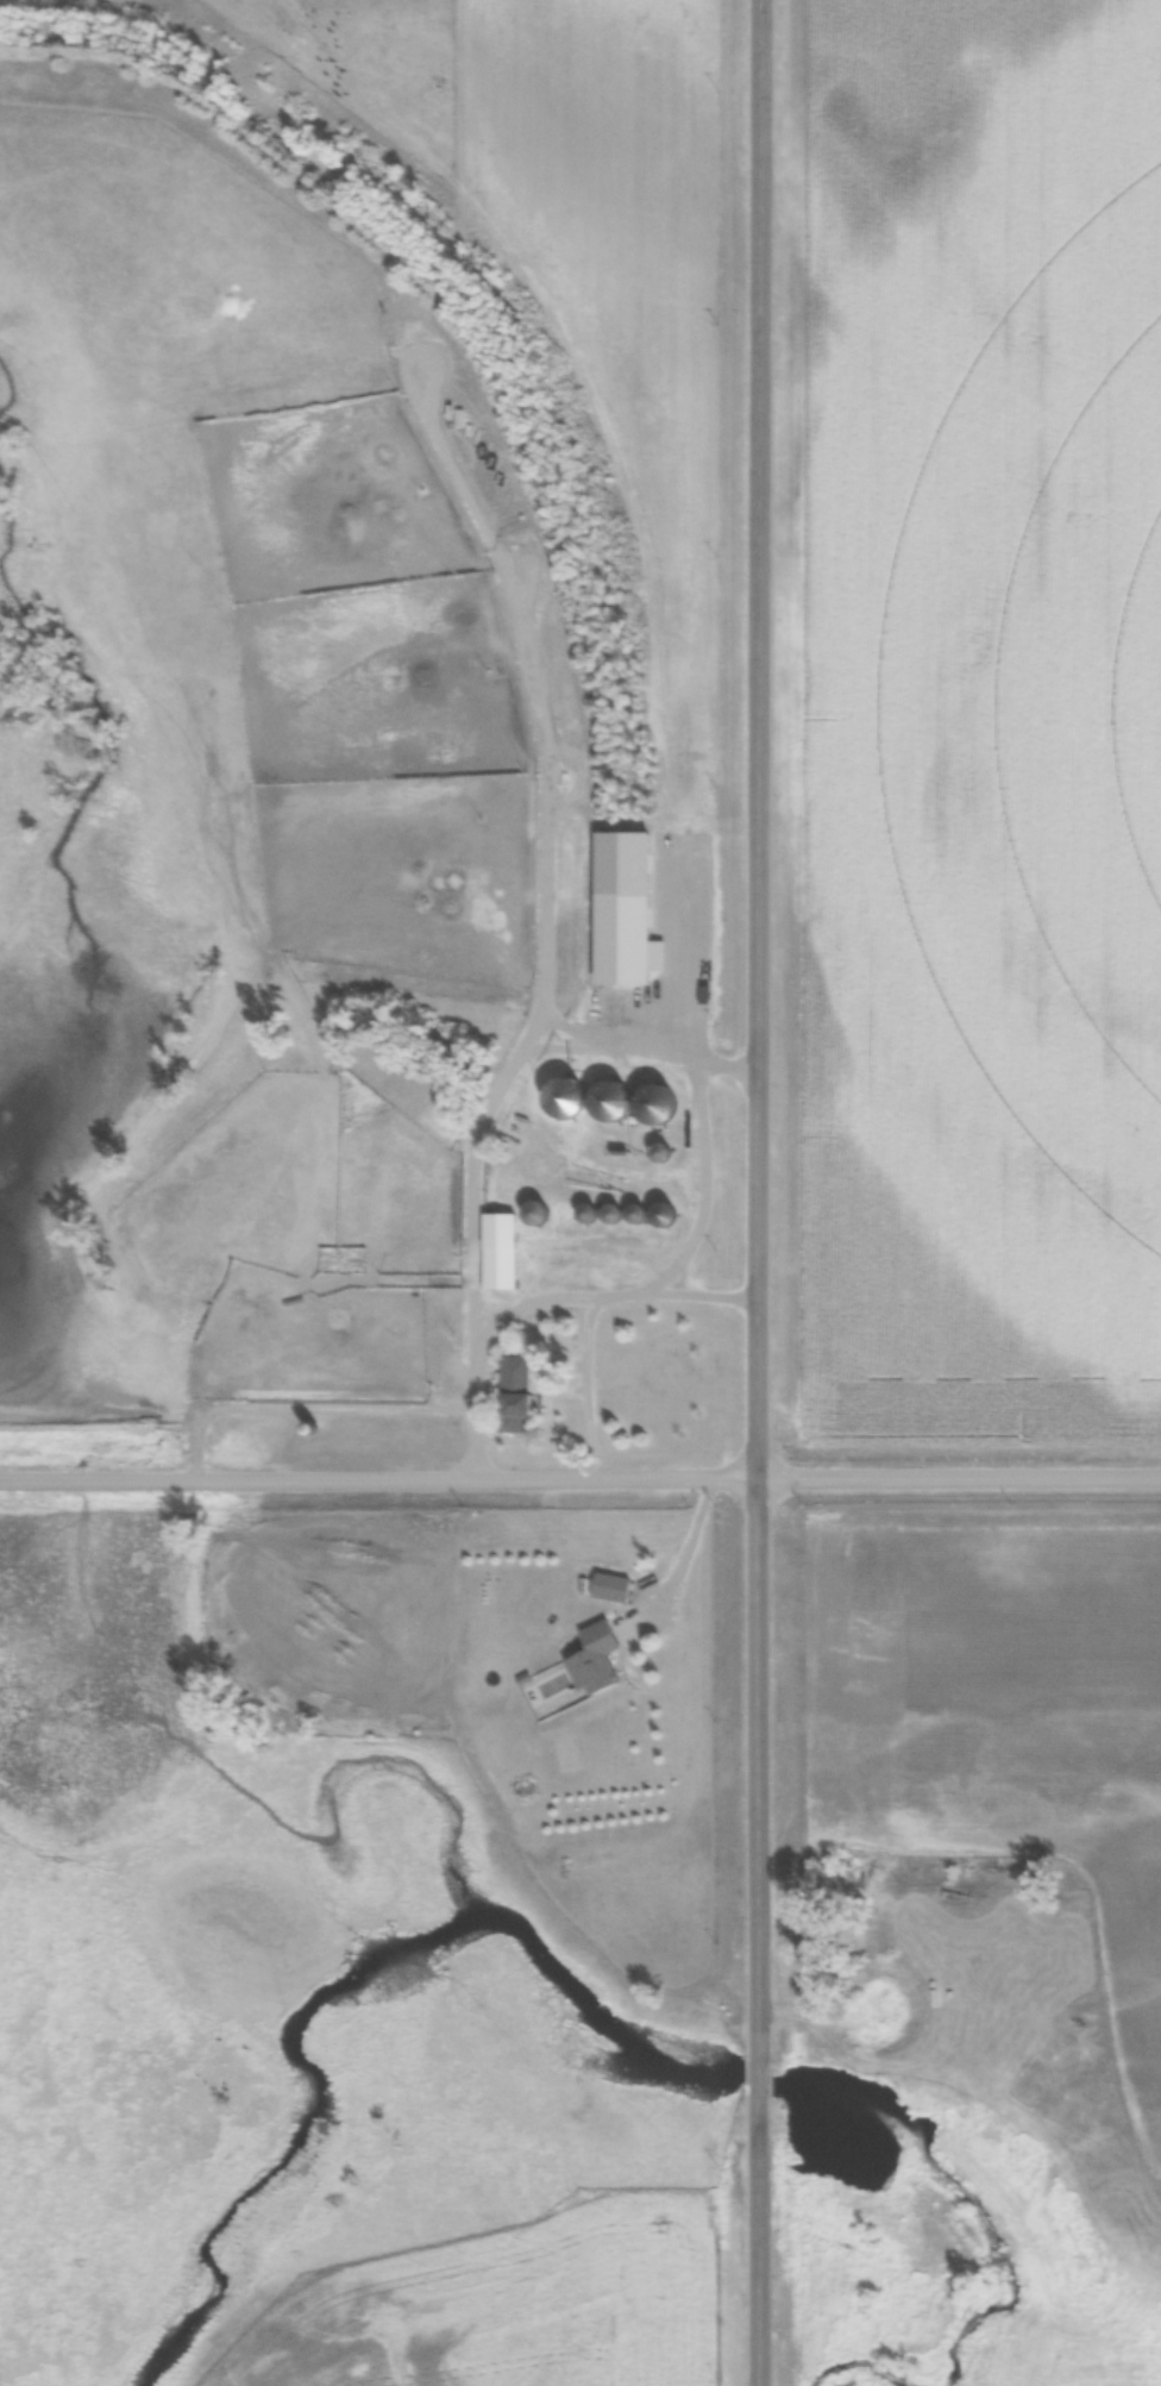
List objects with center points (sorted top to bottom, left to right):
building: (613, 1101)
building: (659, 1103)
building: (659, 1153)
road: (758, 1192)
building: (539, 1214)
building: (613, 1214)
building: (636, 1215)
building: (665, 1215)
building: (498, 1257)
road: (673, 1264)
road: (702, 1296)
road: (473, 1341)
building: (516, 1395)
road: (305, 1409)
road: (579, 1479)
road: (683, 1557)
building: (611, 1589)
building: (601, 1658)

